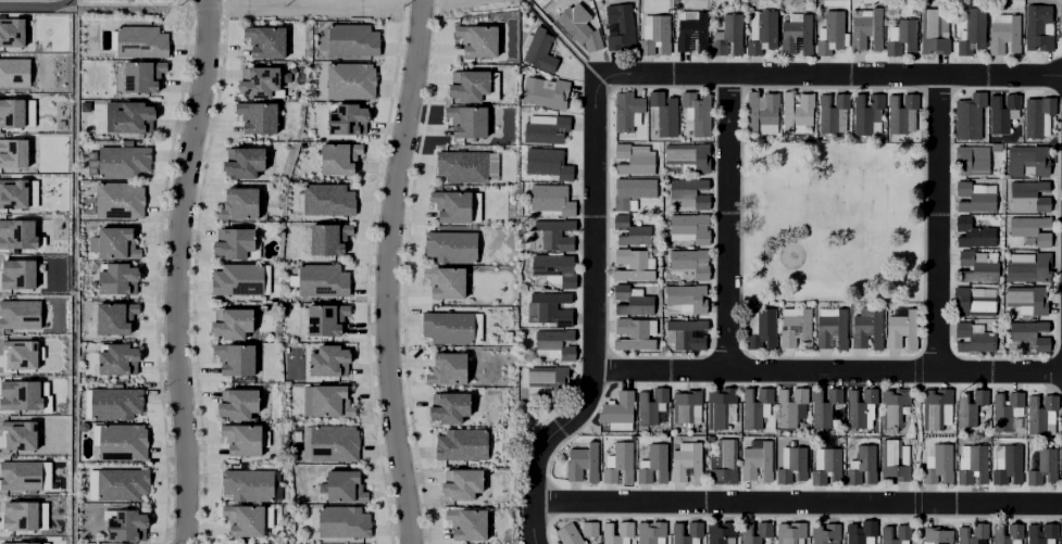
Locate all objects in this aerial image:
road: (429, 2)
road: (314, 5)
building: (620, 23)
building: (1038, 23)
building: (578, 27)
building: (933, 27)
building: (866, 28)
building: (11, 30)
building: (692, 30)
building: (1004, 31)
building: (658, 33)
building: (729, 33)
building: (797, 33)
building: (902, 34)
building: (761, 35)
building: (972, 36)
building: (1061, 37)
building: (832, 38)
building: (141, 42)
building: (352, 42)
building: (270, 43)
building: (478, 43)
building: (537, 54)
building: (298, 66)
building: (13, 72)
building: (142, 76)
building: (260, 83)
building: (350, 84)
road: (594, 87)
building: (470, 89)
building: (545, 92)
building: (798, 106)
building: (763, 110)
building: (833, 110)
building: (866, 110)
building: (1003, 110)
building: (699, 111)
building: (902, 111)
building: (11, 112)
building: (626, 116)
building: (663, 117)
building: (133, 118)
building: (261, 118)
building: (969, 119)
building: (1038, 121)
building: (347, 124)
building: (466, 125)
building: (545, 130)
building: (12, 151)
building: (689, 154)
building: (635, 157)
building: (1028, 157)
building: (246, 160)
building: (971, 160)
building: (123, 161)
building: (339, 161)
building: (91, 163)
building: (546, 167)
building: (462, 168)
building: (629, 189)
building: (12, 192)
building: (1032, 192)
building: (688, 193)
building: (974, 197)
building: (120, 200)
building: (243, 200)
building: (327, 202)
building: (548, 203)
building: (451, 208)
road: (728, 223)
road: (939, 223)
building: (690, 226)
building: (633, 228)
building: (1030, 228)
building: (16, 232)
building: (555, 232)
building: (974, 232)
building: (115, 240)
building: (236, 241)
building: (328, 242)
building: (450, 249)
building: (983, 256)
building: (689, 262)
building: (633, 264)
building: (1029, 266)
building: (976, 267)
building: (550, 269)
road: (176, 270)
road: (386, 271)
building: (16, 273)
building: (118, 278)
building: (238, 279)
building: (322, 283)
building: (445, 286)
building: (688, 294)
building: (1029, 296)
building: (632, 301)
building: (973, 301)
building: (550, 306)
building: (18, 313)
building: (116, 316)
building: (233, 321)
building: (325, 324)
building: (767, 324)
building: (867, 326)
building: (797, 328)
building: (832, 328)
building: (902, 328)
building: (448, 329)
building: (686, 332)
building: (633, 333)
building: (1029, 334)
building: (974, 337)
building: (557, 341)
building: (18, 353)
building: (236, 357)
building: (118, 358)
building: (328, 365)
road: (828, 369)
building: (447, 371)
building: (550, 377)
building: (18, 394)
building: (116, 402)
building: (239, 402)
building: (685, 404)
building: (824, 404)
building: (971, 404)
building: (330, 405)
building: (652, 405)
building: (754, 405)
building: (790, 405)
building: (894, 405)
building: (722, 406)
building: (860, 406)
building: (936, 406)
building: (617, 407)
building: (449, 409)
building: (1007, 409)
building: (1040, 410)
building: (619, 427)
building: (17, 433)
building: (242, 438)
building: (123, 441)
building: (333, 444)
building: (461, 446)
building: (1061, 454)
building: (757, 458)
building: (894, 458)
building: (583, 460)
building: (724, 460)
building: (620, 461)
building: (687, 461)
building: (939, 461)
building: (654, 463)
building: (863, 463)
building: (975, 463)
building: (1010, 463)
building: (1042, 463)
building: (794, 464)
building: (828, 465)
building: (20, 475)
building: (123, 482)
building: (91, 484)
building: (248, 484)
building: (276, 485)
building: (462, 486)
building: (343, 490)
road: (797, 503)
building: (17, 515)
building: (246, 518)
building: (127, 524)
building: (342, 524)
building: (467, 527)
building: (625, 527)
building: (696, 527)
building: (764, 527)
building: (590, 528)
building: (860, 530)
building: (903, 530)
building: (650, 531)
building: (720, 531)
building: (790, 531)
building: (1041, 531)
building: (825, 532)
building: (973, 533)
building: (1008, 533)
building: (1061, 533)
building: (570, 534)
building: (938, 534)
building: (16, 542)

